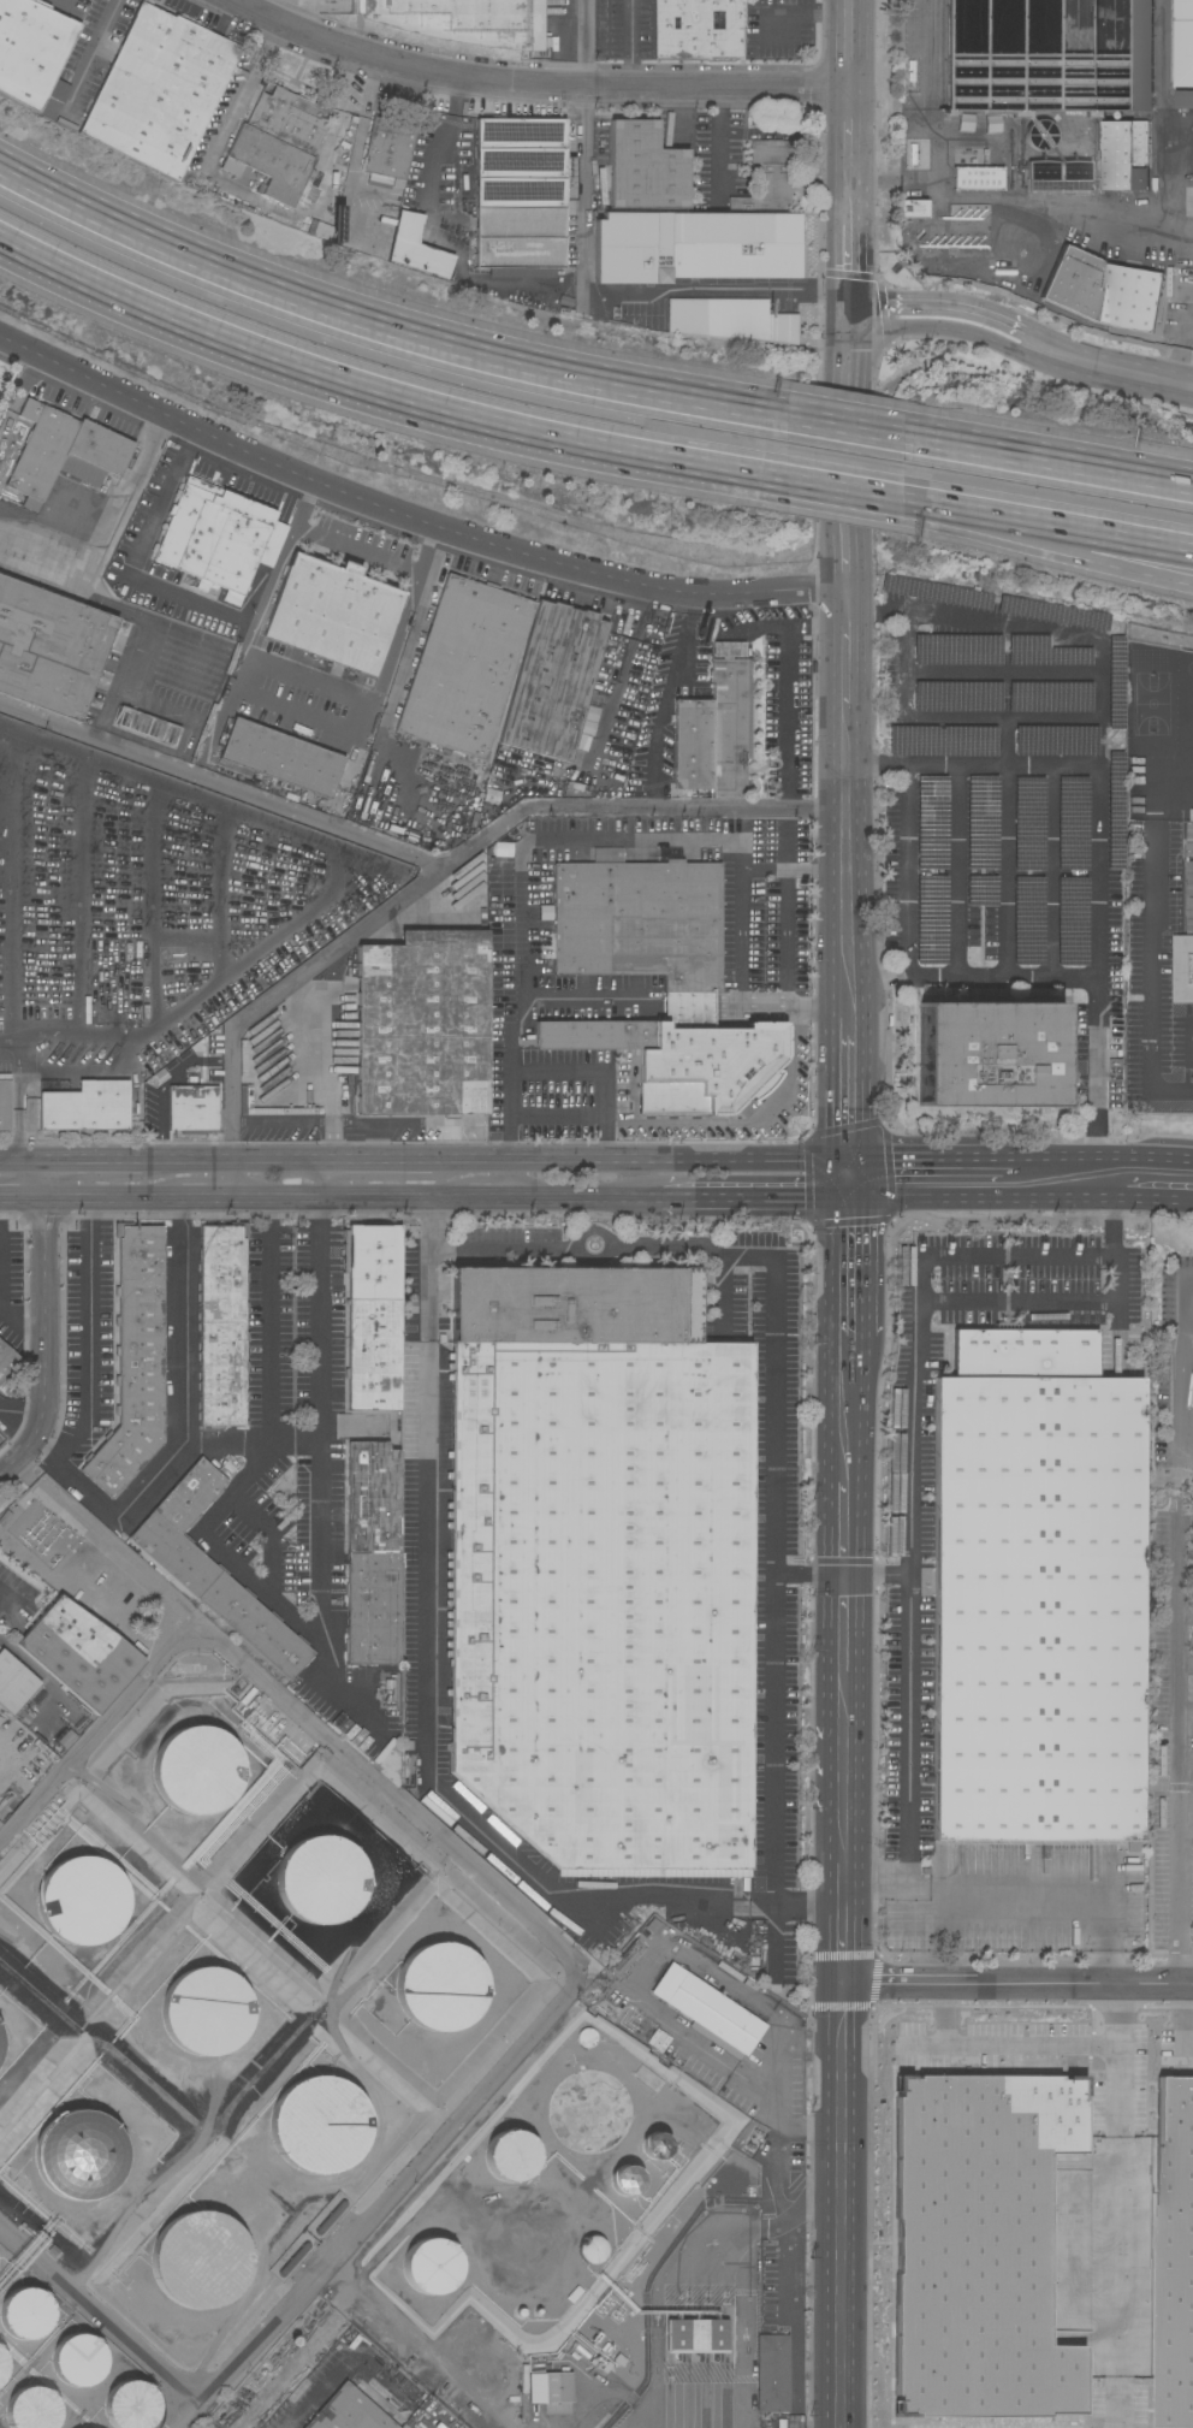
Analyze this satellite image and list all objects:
road: (791, 11)
building: (462, 20)
building: (695, 28)
road: (584, 42)
building: (1182, 43)
building: (31, 49)
road: (91, 53)
building: (236, 70)
building: (1060, 70)
road: (1158, 82)
road: (535, 84)
building: (160, 90)
building: (1183, 99)
road: (679, 114)
road: (933, 134)
building: (973, 137)
building: (280, 143)
road: (718, 147)
building: (387, 153)
road: (851, 155)
building: (1123, 155)
building: (646, 168)
building: (770, 178)
building: (978, 179)
road: (583, 191)
building: (522, 193)
building: (376, 205)
building: (914, 209)
road: (1100, 229)
road: (1177, 243)
building: (462, 244)
building: (734, 247)
building: (415, 248)
building: (630, 250)
building: (1169, 282)
building: (1103, 291)
road: (548, 292)
road: (956, 310)
building: (734, 320)
road: (951, 328)
road: (381, 332)
road: (1181, 344)
road: (1121, 371)
road: (382, 390)
road: (844, 431)
building: (63, 452)
road: (1047, 464)
road: (845, 487)
road: (971, 509)
road: (410, 516)
road: (1114, 534)
building: (219, 539)
road: (356, 550)
road: (140, 553)
road: (1109, 562)
road: (266, 591)
road: (82, 593)
building: (334, 612)
road: (396, 639)
road: (684, 641)
building: (51, 649)
building: (1139, 650)
building: (465, 667)
road: (1003, 673)
road: (241, 674)
road: (307, 681)
building: (553, 681)
road: (314, 717)
road: (789, 719)
road: (1082, 719)
building: (148, 727)
building: (714, 727)
road: (849, 735)
road: (1007, 744)
building: (281, 758)
road: (222, 788)
parking lot: (1008, 812)
building: (1191, 815)
building: (1114, 817)
road: (1100, 836)
road: (664, 843)
building: (610, 855)
road: (455, 861)
road: (795, 872)
road: (912, 872)
road: (957, 872)
road: (1007, 872)
road: (1053, 872)
building: (1188, 877)
road: (10, 899)
road: (220, 901)
road: (79, 908)
road: (152, 912)
road: (292, 923)
road: (742, 926)
road: (1152, 943)
building: (1182, 969)
road: (974, 978)
building: (693, 984)
road: (789, 1009)
road: (518, 1011)
building: (423, 1025)
road: (79, 1037)
road: (11, 1040)
road: (1187, 1042)
road: (23, 1053)
building: (989, 1055)
road: (326, 1070)
road: (557, 1074)
road: (605, 1097)
building: (5, 1102)
building: (85, 1107)
building: (194, 1109)
road: (695, 1120)
road: (605, 1141)
road: (639, 1160)
traffic signals: (848, 1160)
road: (932, 1160)
road: (1058, 1160)
road: (1147, 1160)
road: (214, 1163)
road: (848, 1180)
road: (23, 1200)
road: (114, 1200)
road: (985, 1200)
road: (421, 1201)
road: (755, 1201)
traffic signals: (848, 1201)
road: (1158, 1201)
parking lot: (11, 1289)
road: (955, 1302)
building: (373, 1316)
parking lot: (295, 1321)
road: (20, 1325)
building: (222, 1325)
road: (46, 1328)
road: (1187, 1332)
parking lot: (89, 1337)
road: (90, 1338)
building: (7, 1361)
building: (135, 1361)
road: (1180, 1362)
road: (845, 1388)
building: (1191, 1393)
road: (16, 1427)
road: (182, 1429)
road: (777, 1435)
road: (251, 1446)
parking lot: (293, 1528)
road: (272, 1535)
building: (372, 1554)
road: (1185, 1564)
building: (601, 1568)
building: (214, 1570)
road: (811, 1576)
traffic signals: (844, 1576)
building: (1035, 1593)
road: (7, 1600)
road: (291, 1613)
road: (1185, 1613)
road: (913, 1627)
road: (843, 1636)
road: (1177, 1639)
parking lot: (1173, 1640)
building: (79, 1654)
road: (326, 1656)
road: (1185, 1663)
road: (428, 1671)
building: (14, 1683)
building: (388, 1692)
road: (1186, 1710)
road: (97, 1728)
building: (69, 1736)
building: (46, 1751)
building: (197, 1771)
road: (842, 1777)
road: (1177, 1872)
building: (321, 1879)
road: (1067, 1899)
building: (82, 1901)
road: (807, 1902)
road: (841, 1918)
road: (540, 1929)
building: (730, 1972)
traffic signals: (841, 1982)
road: (1016, 1983)
building: (440, 1988)
building: (707, 2009)
road: (1186, 2009)
building: (206, 2012)
road: (949, 2012)
road: (1121, 2012)
road: (1189, 2035)
building: (587, 2038)
storage tank: (587, 2038)
road: (1014, 2039)
building: (0, 2044)
road: (712, 2050)
building: (319, 2125)
building: (655, 2145)
storage tank: (655, 2145)
building: (79, 2155)
building: (510, 2156)
storage tank: (510, 2156)
building: (624, 2180)
storage tank: (624, 2180)
road: (838, 2204)
building: (328, 2217)
road: (1121, 2233)
road: (783, 2238)
building: (979, 2246)
building: (592, 2250)
storage tank: (592, 2250)
building: (1175, 2254)
building: (200, 2260)
building: (292, 2260)
building: (431, 2266)
storage tank: (431, 2266)
building: (25, 2314)
storage tank: (25, 2314)
road: (738, 2314)
building: (698, 2337)
building: (0, 2347)
storage tank: (0, 2347)
building: (78, 2361)
storage tank: (78, 2361)
building: (2, 2367)
storage tank: (2, 2367)
road: (338, 2369)
building: (773, 2374)
road: (446, 2375)
building: (524, 2379)
building: (550, 2387)
building: (130, 2405)
storage tank: (130, 2405)
building: (32, 2409)
storage tank: (32, 2409)
building: (523, 2410)
building: (349, 2411)
building: (404, 2427)

